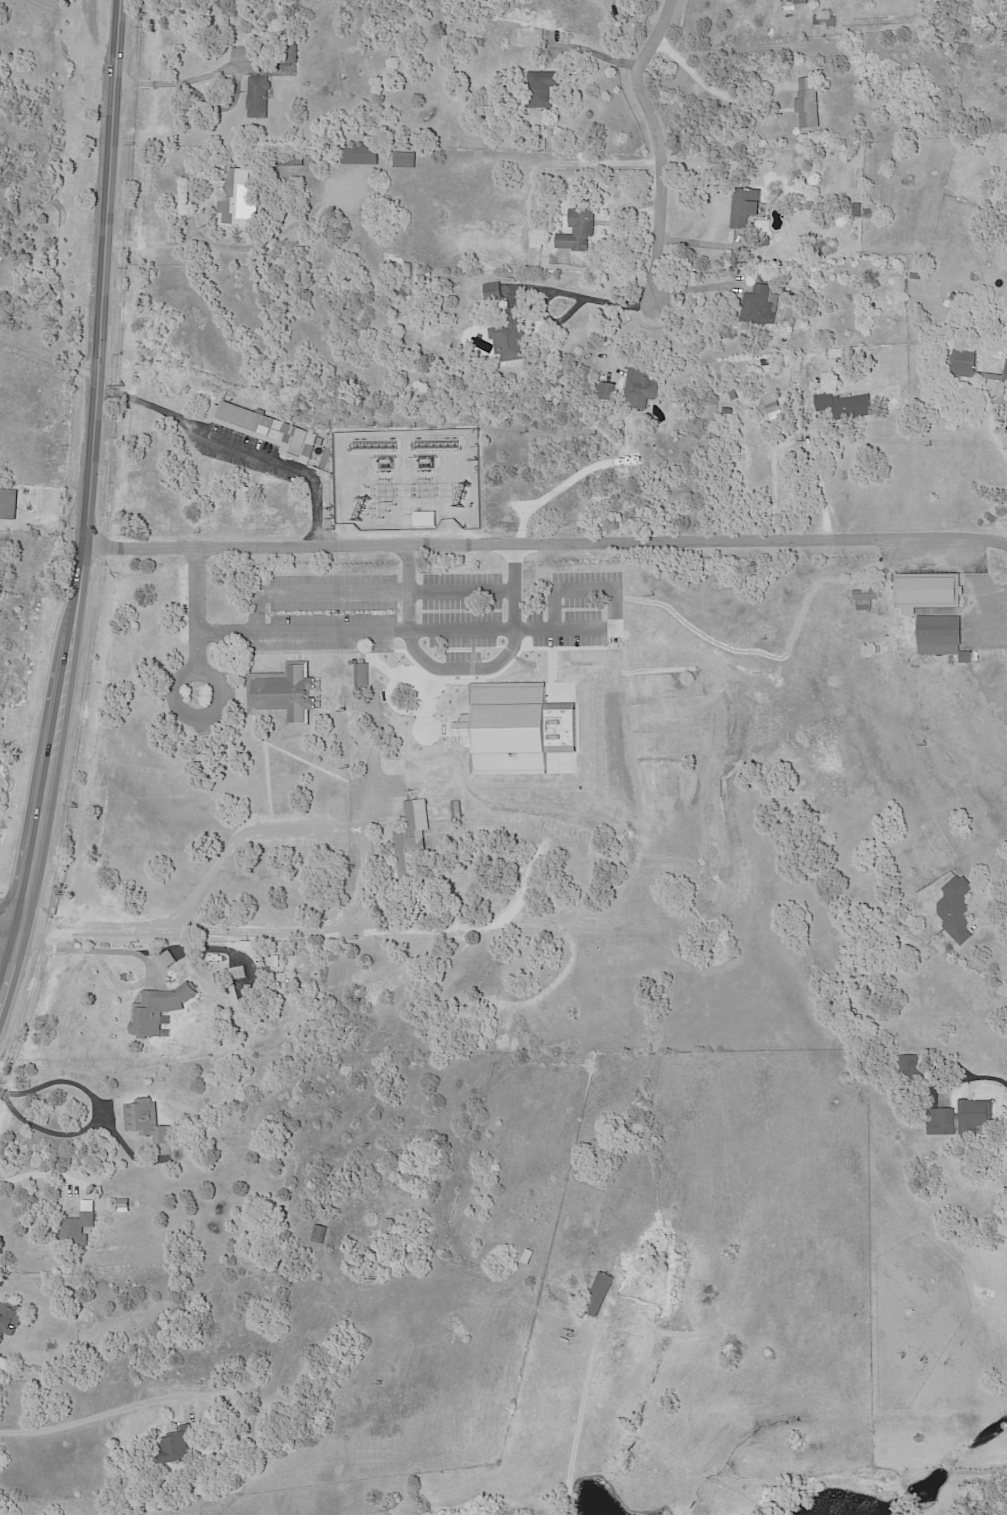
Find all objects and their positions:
building: (800, 2)
building: (832, 21)
building: (481, 43)
building: (292, 54)
road: (188, 80)
road: (712, 86)
building: (543, 91)
building: (879, 91)
building: (261, 97)
building: (807, 104)
building: (986, 146)
road: (659, 149)
building: (364, 155)
building: (293, 160)
building: (407, 160)
building: (242, 198)
building: (744, 207)
building: (856, 212)
building: (577, 231)
road: (201, 241)
building: (766, 242)
building: (539, 244)
building: (529, 257)
building: (915, 276)
building: (767, 279)
road: (698, 286)
building: (406, 291)
building: (493, 292)
road: (589, 296)
building: (954, 297)
road: (573, 298)
building: (759, 306)
building: (510, 337)
road: (47, 358)
building: (965, 364)
building: (561, 374)
building: (1005, 377)
power tower: (124, 384)
building: (641, 389)
building: (609, 391)
building: (813, 391)
building: (732, 396)
building: (845, 406)
building: (771, 408)
building: (805, 409)
building: (728, 411)
road: (992, 423)
building: (264, 429)
road: (238, 438)
building: (320, 441)
power substation: (407, 477)
road: (825, 480)
building: (244, 490)
road: (771, 491)
building: (9, 503)
road: (85, 511)
building: (425, 519)
road: (546, 541)
road: (408, 582)
building: (927, 590)
power tower: (654, 595)
building: (866, 599)
road: (502, 621)
road: (262, 624)
building: (943, 636)
building: (362, 673)
building: (284, 694)
power tower: (927, 744)
building: (433, 774)
building: (506, 785)
building: (456, 811)
road: (246, 830)
building: (410, 839)
building: (521, 866)
building: (955, 909)
road: (13, 914)
road: (989, 916)
road: (238, 932)
road: (10, 938)
building: (183, 947)
road: (95, 950)
building: (166, 957)
building: (173, 959)
building: (232, 975)
building: (161, 1009)
building: (910, 1067)
road: (990, 1076)
building: (274, 1090)
road: (1, 1091)
road: (100, 1114)
building: (960, 1118)
building: (149, 1121)
road: (39, 1173)
building: (80, 1229)
building: (317, 1232)
building: (323, 1234)
building: (597, 1295)
building: (11, 1316)
building: (5, 1363)
road: (98, 1419)
building: (182, 1444)

